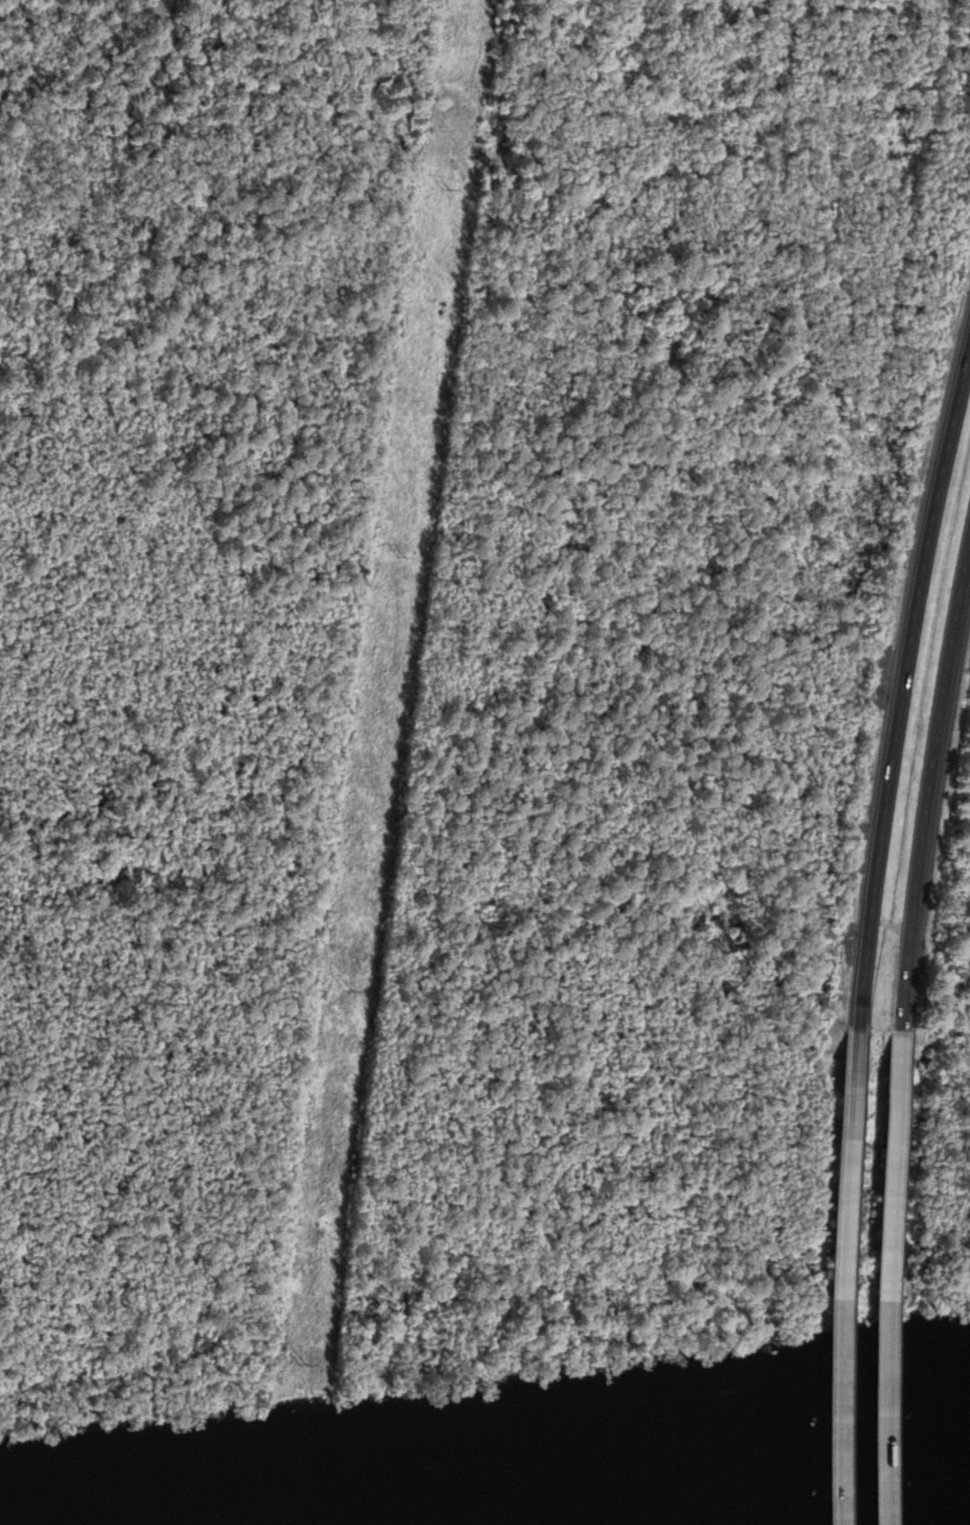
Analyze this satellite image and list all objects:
power tower: (447, 189)
power tower: (395, 613)
road: (904, 680)
road: (929, 778)
power tower: (349, 994)
road: (885, 1268)
road: (837, 1274)
power tower: (313, 1353)
river: (638, 1478)

